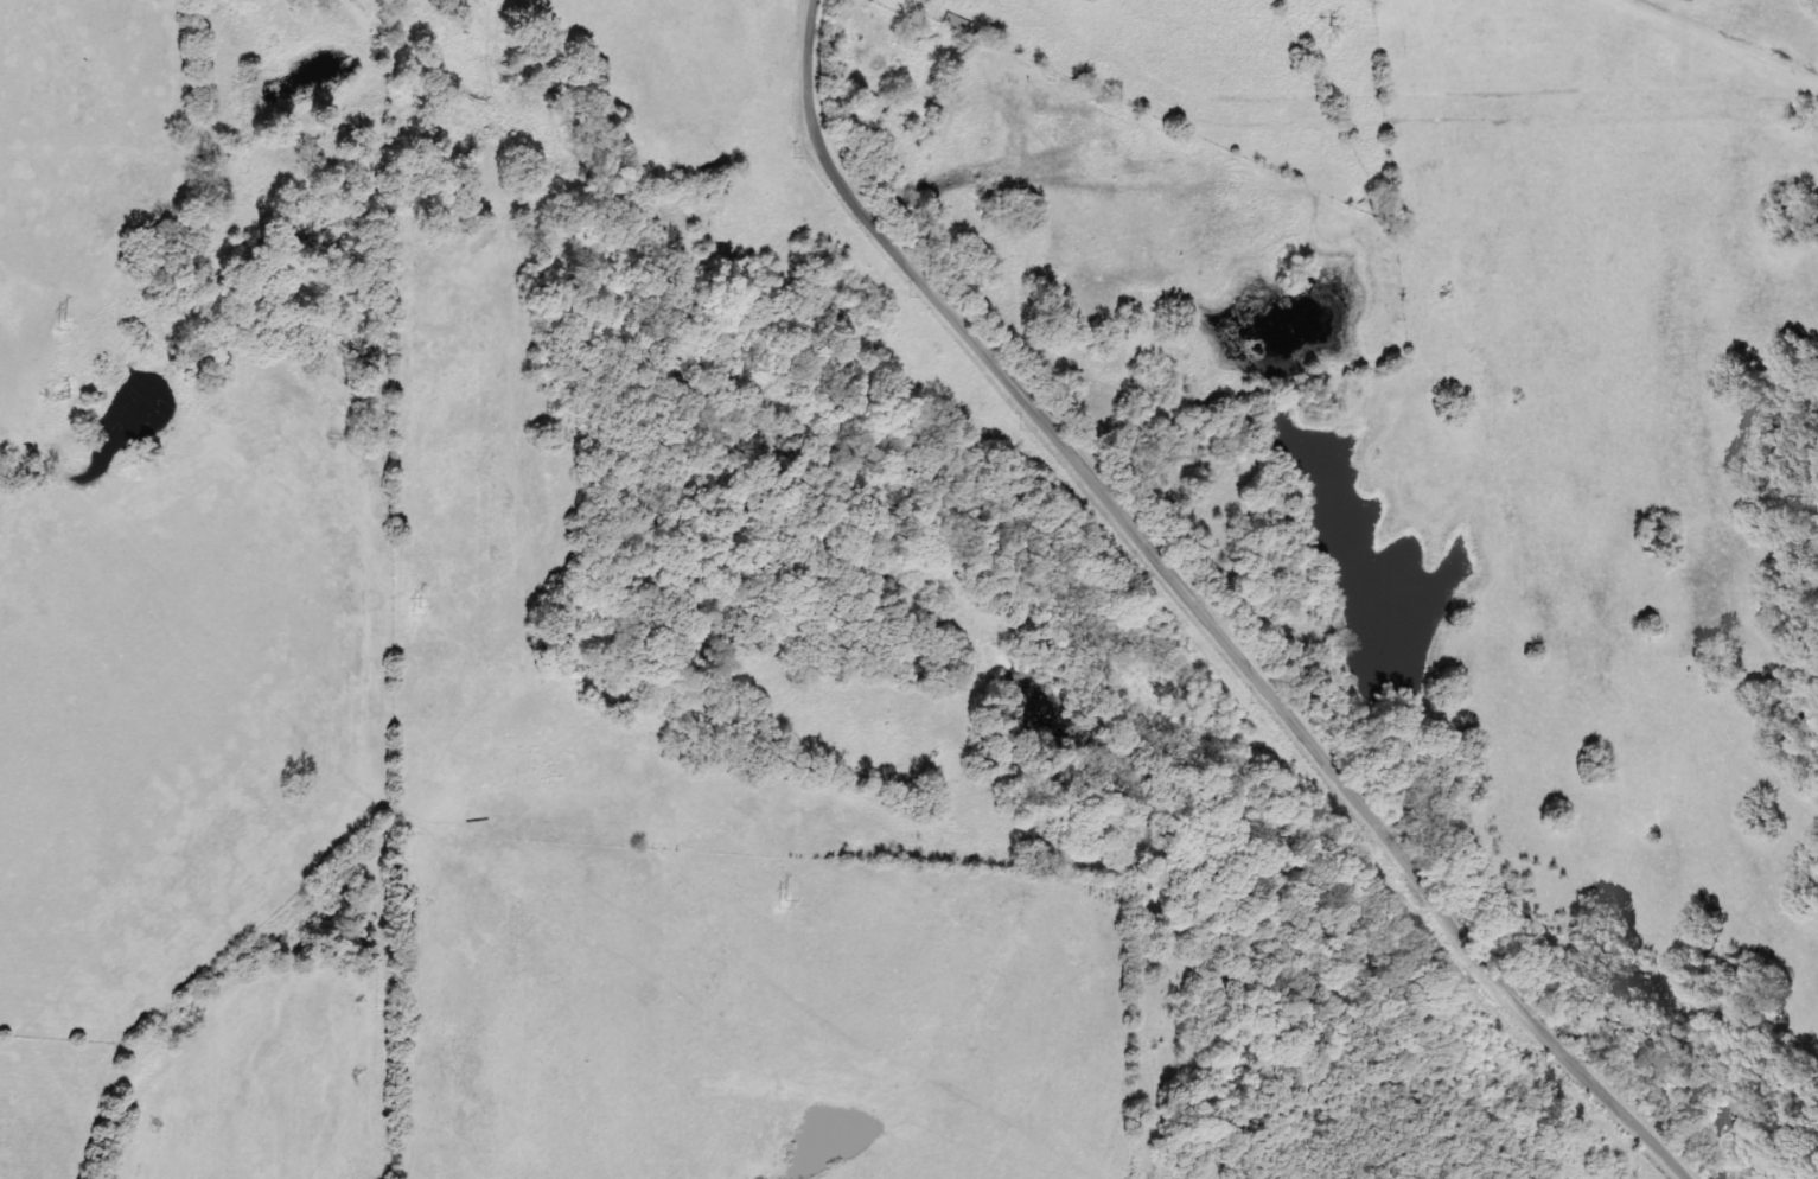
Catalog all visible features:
power tower: (60, 325)
road: (1173, 599)
power tower: (415, 610)
power tower: (782, 904)

